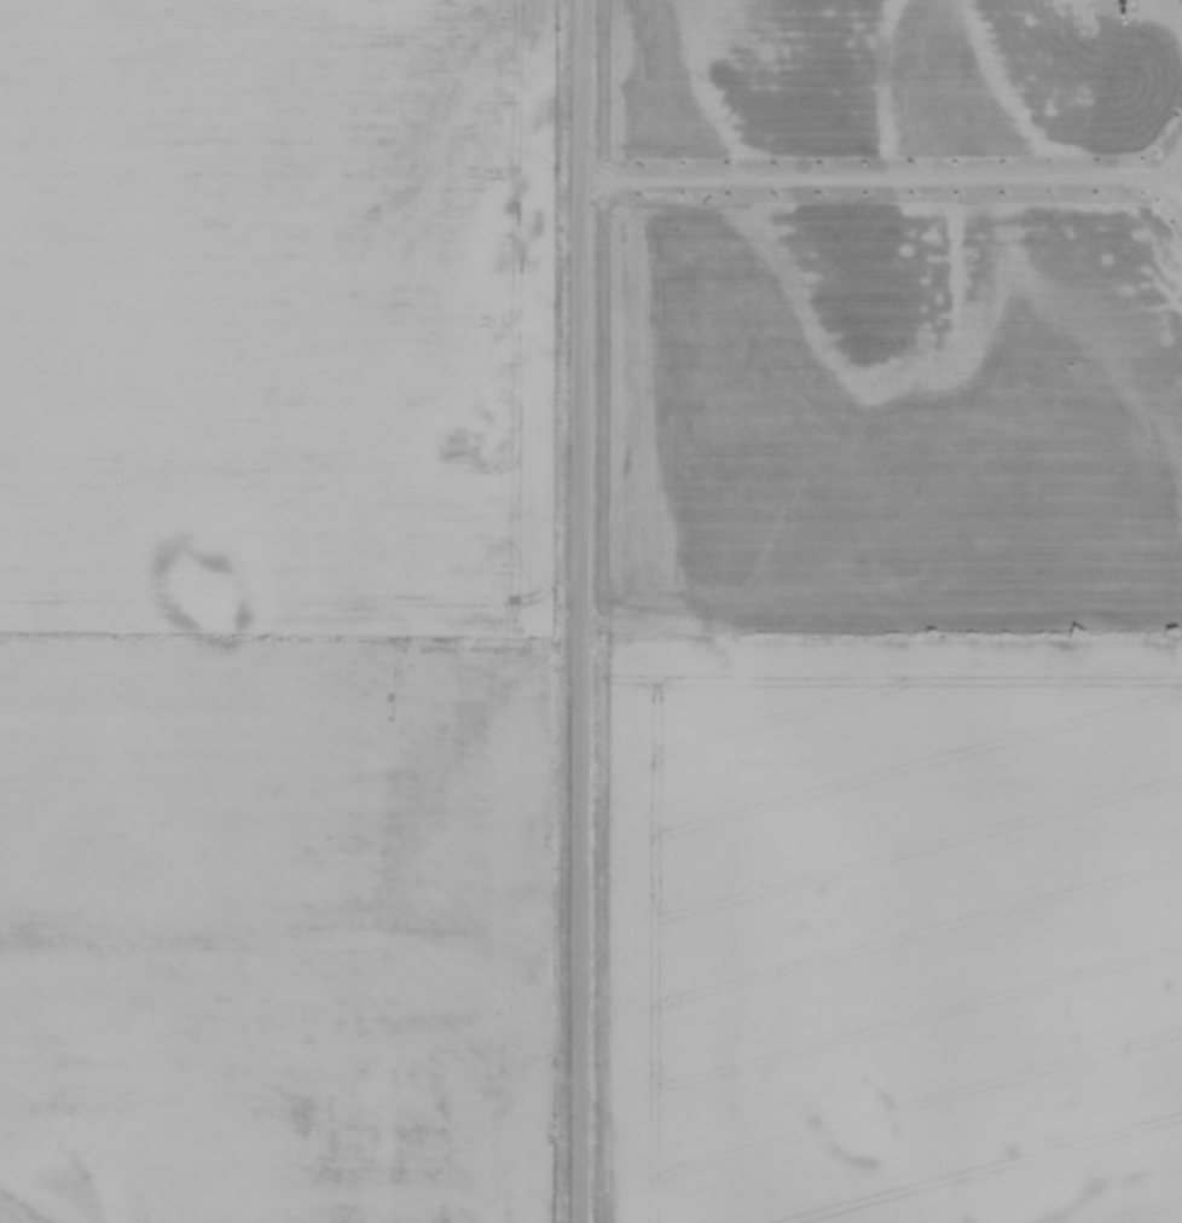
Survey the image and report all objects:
road: (1180, 22)
road: (1169, 162)
road: (885, 176)
road: (586, 611)

